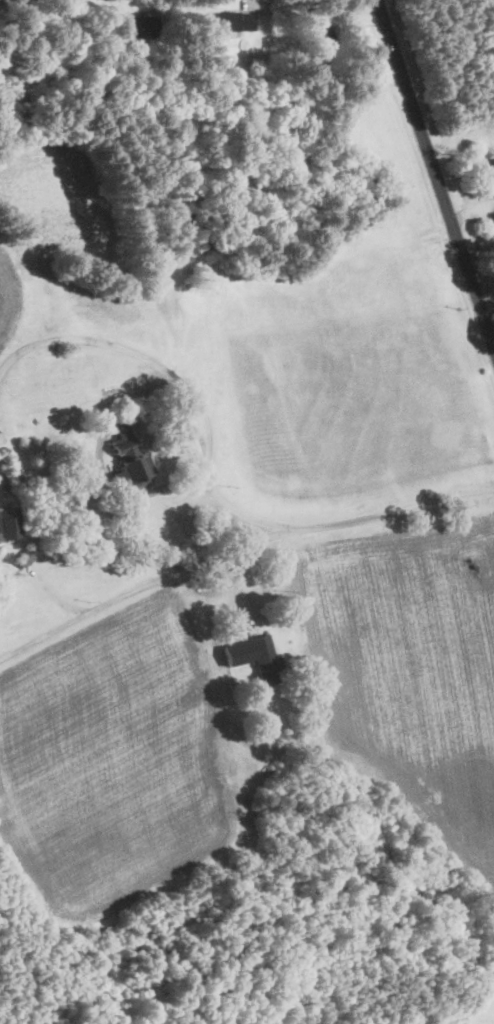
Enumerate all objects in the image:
building: (232, 21)
building: (137, 25)
building: (320, 26)
building: (493, 157)
road: (435, 175)
road: (179, 381)
building: (0, 438)
building: (130, 457)
building: (83, 474)
building: (10, 523)
road: (238, 547)
building: (255, 657)

